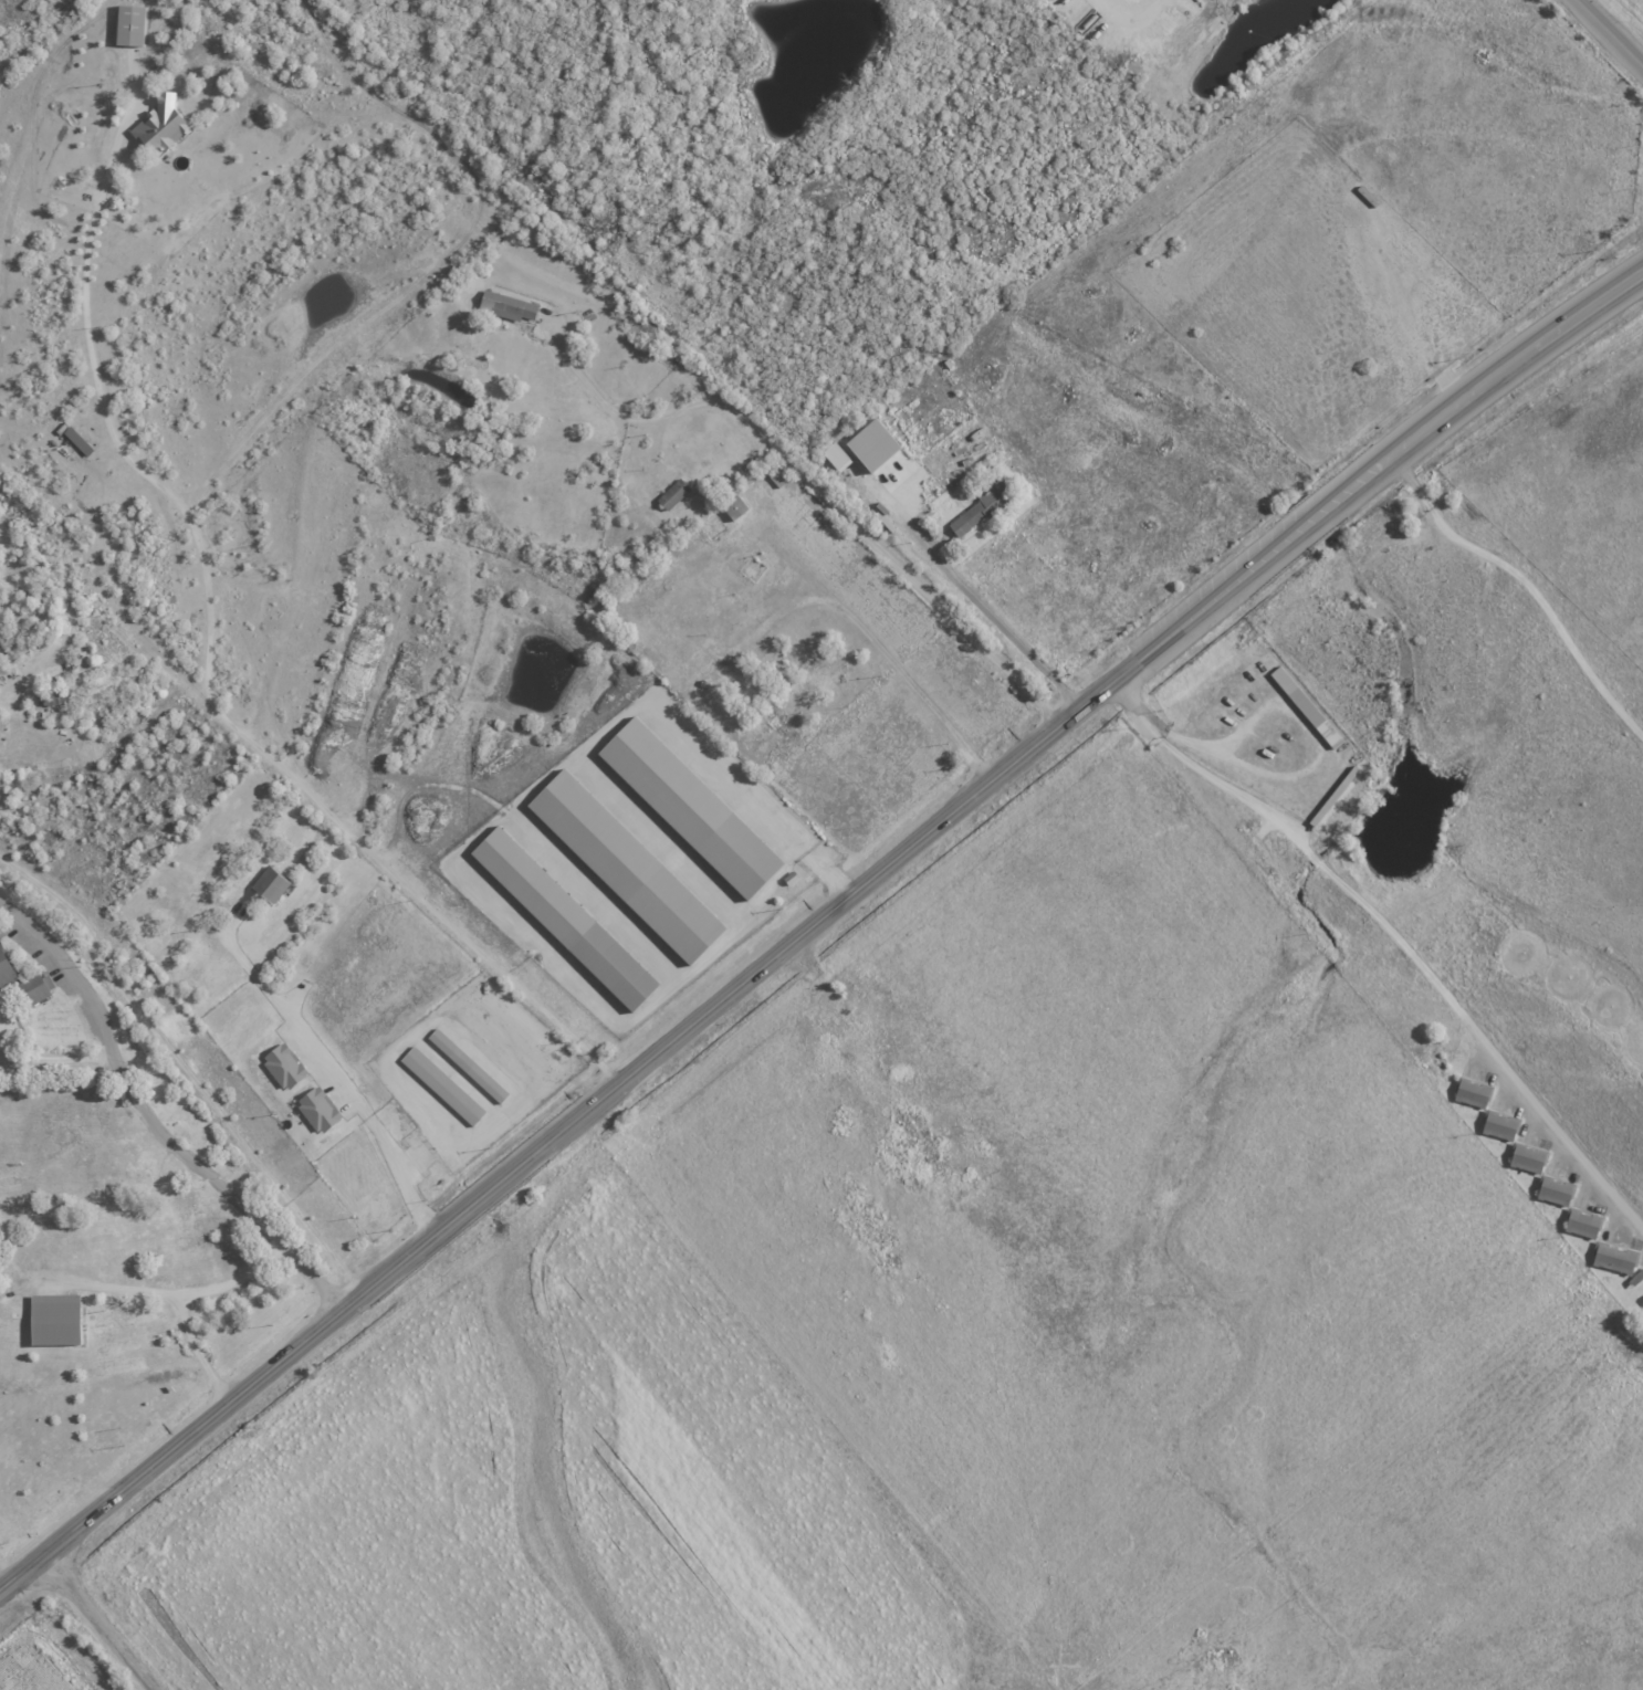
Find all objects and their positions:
building: (135, 24)
road: (1613, 29)
building: (166, 125)
building: (510, 306)
building: (82, 439)
building: (878, 443)
building: (839, 456)
building: (894, 471)
building: (777, 476)
building: (676, 493)
building: (739, 507)
building: (985, 507)
road: (1529, 585)
road: (1021, 640)
building: (8, 657)
road: (207, 660)
building: (61, 695)
building: (1308, 706)
building: (694, 807)
building: (630, 865)
building: (275, 882)
road: (872, 882)
building: (569, 917)
road: (1392, 937)
building: (9, 968)
building: (38, 987)
building: (471, 1064)
building: (289, 1066)
road: (331, 1066)
building: (446, 1084)
building: (1475, 1092)
building: (322, 1110)
building: (1503, 1124)
road: (151, 1126)
building: (1530, 1157)
building: (1557, 1190)
building: (1584, 1222)
building: (1616, 1258)
road: (987, 1277)
road: (117, 1288)
road: (184, 1302)
building: (61, 1319)
road: (56, 1544)
road: (98, 1623)
road: (62, 1642)
airport: (35, 1662)

